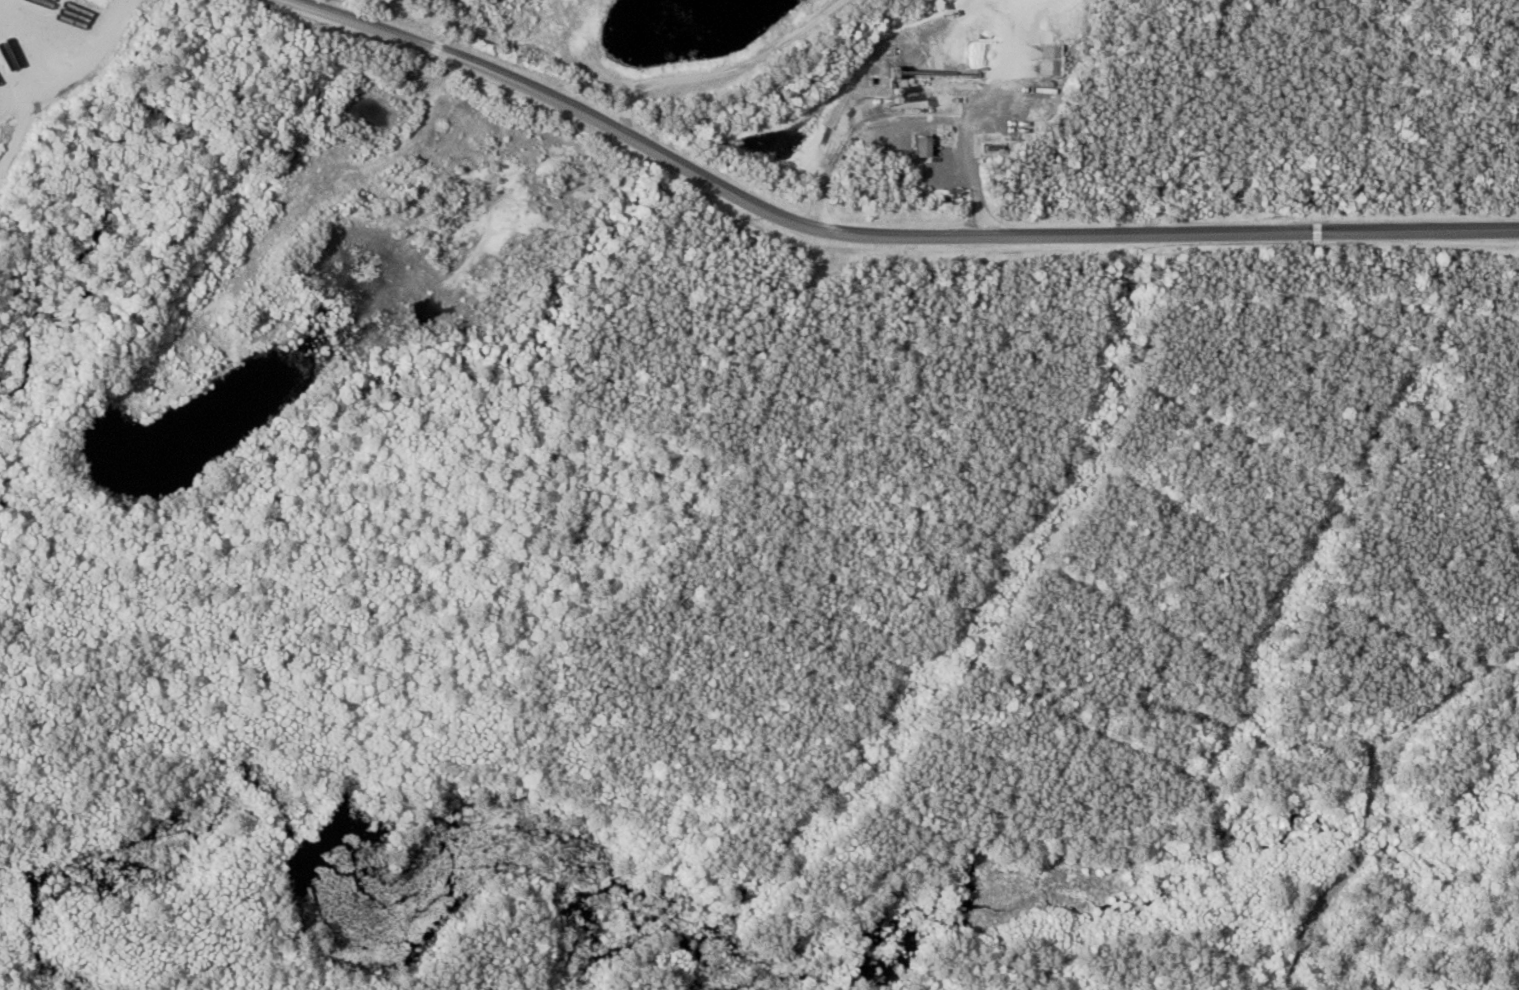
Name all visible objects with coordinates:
road: (273, 10)
building: (920, 146)
road: (879, 230)

